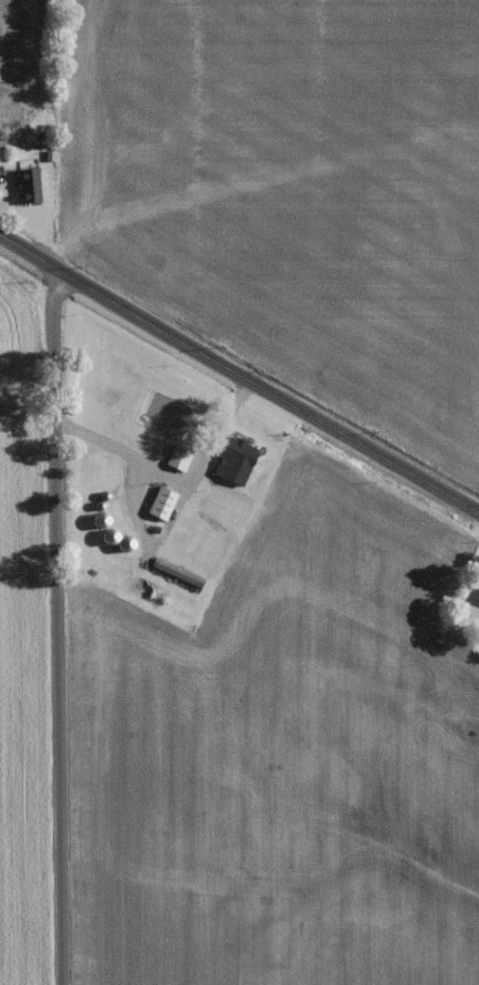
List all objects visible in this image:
road: (238, 371)
building: (238, 457)
building: (178, 462)
building: (163, 507)
building: (177, 577)
building: (477, 598)
road: (60, 625)

